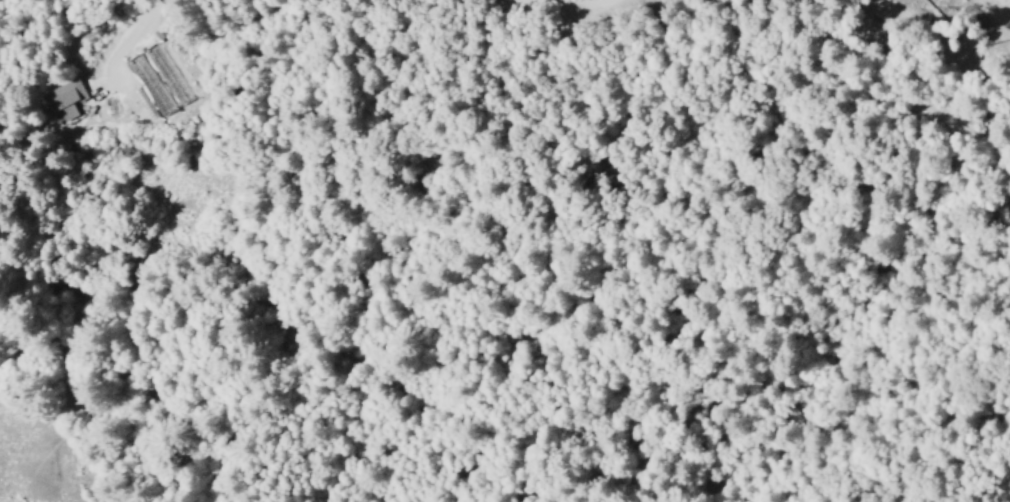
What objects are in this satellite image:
road: (937, 50)
road: (916, 87)
building: (65, 101)

